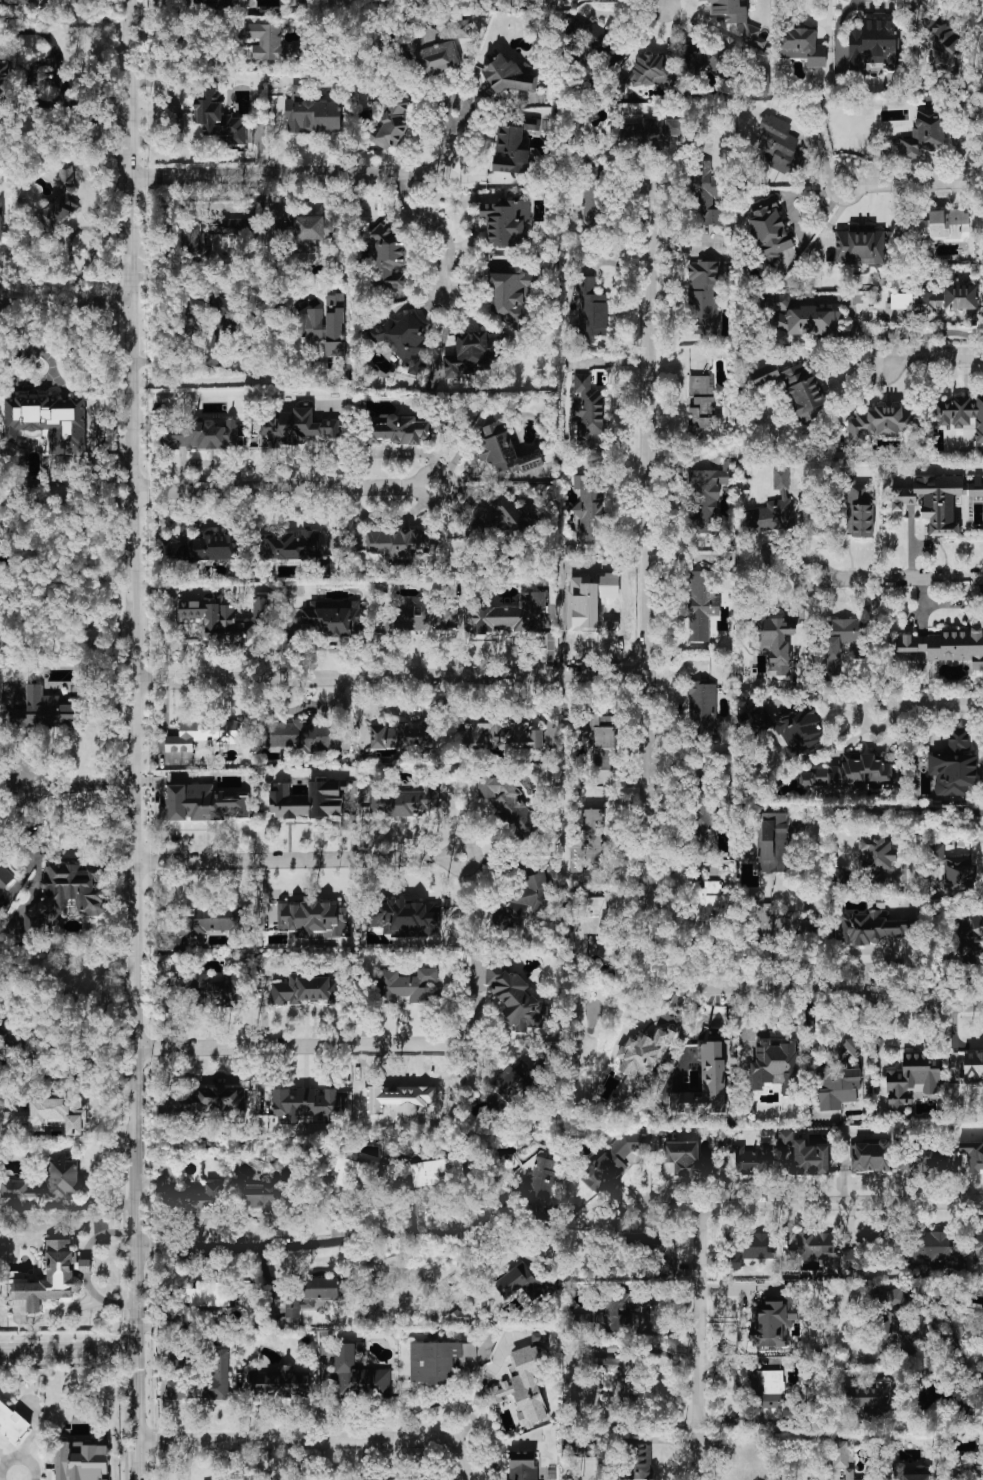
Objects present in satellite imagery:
building: (21, 1)
building: (506, 1)
road: (158, 10)
building: (737, 19)
building: (942, 40)
building: (269, 42)
building: (874, 43)
building: (802, 46)
building: (439, 48)
building: (707, 58)
building: (648, 70)
building: (511, 75)
building: (5, 80)
building: (311, 113)
building: (218, 116)
road: (180, 117)
building: (393, 120)
building: (654, 131)
building: (924, 134)
building: (780, 145)
building: (511, 149)
road: (260, 150)
road: (850, 173)
road: (316, 175)
building: (66, 176)
road: (920, 182)
building: (704, 194)
building: (592, 195)
road: (790, 200)
building: (58, 211)
building: (1, 220)
building: (505, 221)
building: (229, 224)
road: (434, 225)
building: (939, 225)
building: (769, 226)
road: (808, 234)
building: (267, 236)
building: (191, 238)
building: (861, 246)
building: (387, 256)
building: (704, 297)
building: (939, 299)
road: (64, 301)
building: (194, 307)
building: (591, 308)
building: (800, 318)
road: (932, 318)
building: (325, 324)
building: (224, 329)
building: (403, 338)
building: (469, 354)
road: (931, 354)
road: (14, 373)
road: (232, 380)
building: (804, 392)
building: (701, 403)
building: (587, 408)
building: (960, 414)
building: (48, 421)
building: (878, 423)
building: (296, 426)
building: (401, 430)
building: (201, 435)
building: (504, 448)
road: (937, 470)
road: (275, 487)
road: (421, 492)
building: (705, 498)
building: (933, 501)
building: (773, 507)
building: (859, 509)
building: (587, 512)
building: (508, 515)
road: (649, 535)
building: (397, 543)
building: (290, 545)
building: (205, 547)
road: (893, 576)
building: (701, 604)
building: (422, 615)
building: (512, 615)
building: (332, 617)
building: (226, 619)
building: (4, 634)
building: (774, 641)
building: (842, 643)
building: (940, 648)
road: (389, 677)
road: (934, 703)
building: (702, 707)
building: (45, 710)
building: (794, 728)
building: (502, 731)
building: (203, 734)
building: (302, 734)
building: (401, 736)
road: (131, 740)
building: (605, 748)
road: (18, 757)
building: (954, 763)
building: (847, 774)
road: (78, 784)
building: (308, 799)
building: (402, 801)
building: (204, 803)
building: (509, 804)
road: (888, 811)
building: (702, 818)
road: (933, 825)
building: (589, 841)
building: (772, 842)
road: (453, 848)
building: (876, 855)
road: (291, 860)
building: (954, 870)
building: (5, 875)
building: (66, 892)
building: (707, 905)
building: (405, 918)
building: (313, 919)
building: (776, 921)
building: (209, 922)
building: (590, 923)
building: (873, 927)
building: (967, 938)
road: (648, 960)
building: (408, 985)
building: (307, 990)
road: (834, 990)
building: (171, 992)
building: (515, 998)
building: (4, 1027)
road: (452, 1040)
road: (882, 1044)
road: (292, 1047)
building: (852, 1047)
building: (728, 1049)
building: (643, 1058)
building: (774, 1065)
building: (973, 1067)
building: (912, 1080)
building: (705, 1084)
building: (509, 1085)
building: (837, 1085)
building: (208, 1101)
building: (412, 1101)
building: (305, 1103)
building: (48, 1116)
building: (973, 1155)
building: (871, 1156)
building: (688, 1158)
building: (809, 1158)
building: (928, 1159)
building: (611, 1163)
building: (354, 1170)
building: (438, 1171)
building: (49, 1181)
building: (538, 1181)
building: (269, 1191)
building: (197, 1200)
road: (811, 1202)
road: (101, 1233)
road: (307, 1244)
building: (931, 1244)
building: (816, 1245)
building: (653, 1247)
building: (977, 1247)
building: (749, 1248)
building: (869, 1248)
road: (84, 1266)
building: (53, 1276)
building: (519, 1283)
building: (320, 1287)
road: (91, 1288)
building: (202, 1294)
road: (85, 1305)
building: (292, 1306)
building: (610, 1313)
building: (458, 1316)
building: (893, 1317)
building: (769, 1323)
road: (696, 1342)
road: (68, 1348)
building: (438, 1360)
road: (980, 1367)
building: (358, 1374)
building: (614, 1379)
road: (482, 1382)
building: (280, 1383)
building: (523, 1385)
building: (769, 1390)
building: (869, 1400)
building: (13, 1421)
road: (316, 1438)
building: (841, 1455)
building: (81, 1460)
building: (638, 1462)
building: (521, 1466)
building: (977, 1467)
building: (733, 1471)
building: (911, 1472)
building: (848, 1474)

